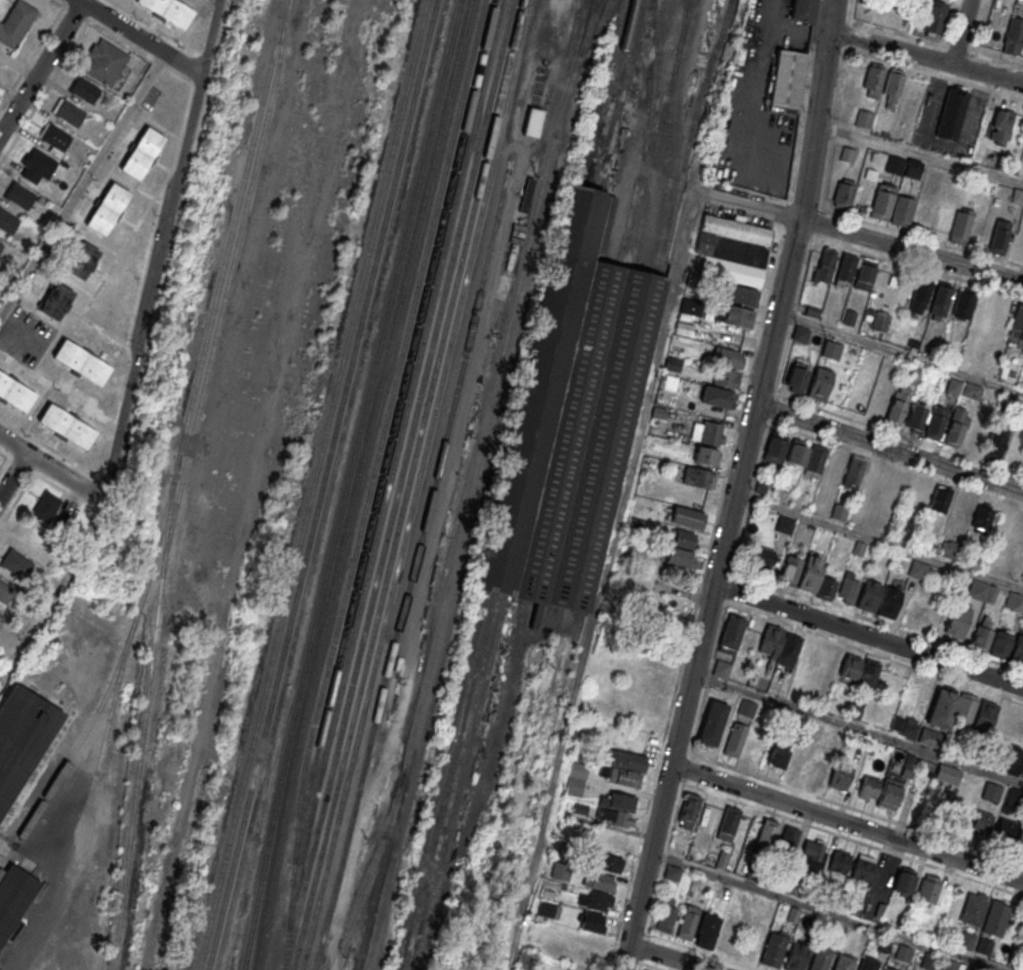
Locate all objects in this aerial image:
railway: (582, 2)
building: (169, 11)
building: (801, 11)
building: (933, 17)
building: (16, 23)
railway: (680, 25)
railway: (585, 26)
road: (787, 30)
road: (960, 32)
building: (1013, 36)
road: (141, 37)
road: (926, 57)
building: (105, 61)
railway: (572, 66)
road: (41, 68)
road: (760, 73)
building: (786, 78)
building: (872, 80)
building: (85, 89)
building: (892, 89)
railway: (600, 92)
railway: (609, 93)
railway: (621, 94)
building: (69, 112)
building: (951, 114)
building: (864, 119)
building: (531, 121)
building: (1000, 127)
railway: (645, 133)
railway: (657, 133)
railway: (687, 135)
building: (54, 138)
railway: (667, 140)
building: (142, 152)
road: (919, 152)
building: (848, 153)
building: (36, 165)
building: (903, 166)
road: (83, 182)
building: (843, 193)
building: (19, 195)
building: (882, 201)
road: (747, 204)
building: (107, 209)
building: (902, 210)
building: (8, 221)
building: (961, 225)
building: (999, 236)
building: (1, 246)
building: (732, 249)
road: (161, 251)
road: (911, 251)
building: (81, 260)
building: (824, 265)
building: (845, 269)
building: (864, 273)
railway: (224, 287)
building: (742, 295)
building: (919, 297)
building: (56, 300)
building: (940, 301)
building: (963, 303)
building: (690, 307)
building: (1000, 316)
building: (740, 317)
road: (773, 331)
building: (800, 334)
parking lot: (25, 335)
building: (831, 349)
road: (900, 353)
building: (727, 357)
building: (81, 362)
building: (726, 377)
building: (796, 377)
building: (819, 384)
building: (963, 388)
building: (15, 392)
building: (717, 396)
building: (898, 404)
building: (568, 417)
building: (916, 417)
building: (935, 422)
building: (66, 425)
building: (956, 427)
railway: (390, 429)
building: (712, 432)
building: (996, 440)
building: (775, 448)
road: (889, 448)
building: (797, 452)
building: (706, 456)
building: (816, 459)
railway: (392, 462)
building: (1022, 469)
road: (54, 470)
building: (853, 472)
road: (14, 475)
building: (696, 477)
railway: (170, 480)
railway: (368, 482)
railway: (354, 483)
railway: (310, 484)
railway: (345, 484)
railway: (395, 484)
railway: (468, 484)
building: (871, 484)
railway: (320, 485)
railway: (405, 485)
railway: (413, 485)
building: (939, 498)
building: (46, 507)
building: (961, 508)
building: (687, 517)
building: (982, 519)
building: (784, 524)
building: (902, 533)
building: (681, 539)
road: (879, 541)
building: (679, 557)
building: (761, 559)
building: (16, 563)
building: (917, 569)
railway: (411, 570)
building: (790, 570)
building: (811, 573)
road: (600, 579)
building: (1022, 581)
building: (848, 587)
building: (827, 588)
building: (982, 591)
building: (5, 592)
road: (54, 595)
building: (869, 596)
building: (1014, 601)
building: (888, 602)
building: (958, 621)
building: (731, 633)
building: (983, 633)
road: (868, 635)
building: (770, 639)
building: (1001, 643)
building: (788, 649)
building: (1017, 651)
building: (809, 653)
railway: (534, 666)
building: (720, 668)
building: (849, 669)
building: (868, 676)
railway: (106, 691)
railway: (114, 698)
building: (645, 699)
building: (746, 707)
building: (950, 707)
railway: (510, 709)
building: (845, 710)
building: (985, 715)
building: (712, 722)
railway: (549, 723)
building: (904, 726)
road: (857, 729)
building: (22, 737)
building: (929, 737)
building: (734, 740)
building: (787, 757)
building: (1012, 760)
building: (908, 765)
building: (624, 768)
building: (818, 768)
road: (685, 770)
building: (948, 774)
building: (840, 777)
railway: (437, 779)
railway: (447, 780)
building: (576, 781)
railway: (459, 782)
building: (869, 787)
building: (992, 791)
building: (888, 794)
building: (616, 808)
building: (930, 809)
building: (689, 810)
road: (659, 814)
building: (982, 822)
building: (728, 823)
road: (846, 823)
building: (1004, 830)
building: (765, 837)
building: (1019, 838)
building: (612, 839)
building: (786, 844)
building: (811, 853)
building: (607, 862)
building: (839, 862)
building: (862, 867)
building: (561, 872)
railway: (364, 873)
building: (672, 873)
building: (905, 880)
building: (929, 888)
building: (597, 890)
building: (14, 896)
building: (549, 908)
building: (974, 909)
road: (824, 912)
building: (793, 915)
building: (666, 917)
building: (995, 919)
building: (593, 921)
building: (688, 922)
building: (706, 930)
building: (727, 936)
building: (755, 938)
building: (967, 941)
building: (984, 947)
building: (774, 948)
road: (703, 951)
building: (904, 954)
building: (795, 956)
road: (668, 957)
building: (820, 957)
building: (843, 962)
building: (928, 962)
building: (867, 963)
road: (649, 964)
building: (950, 965)
building: (646, 969)
building: (886, 969)
building: (970, 969)

